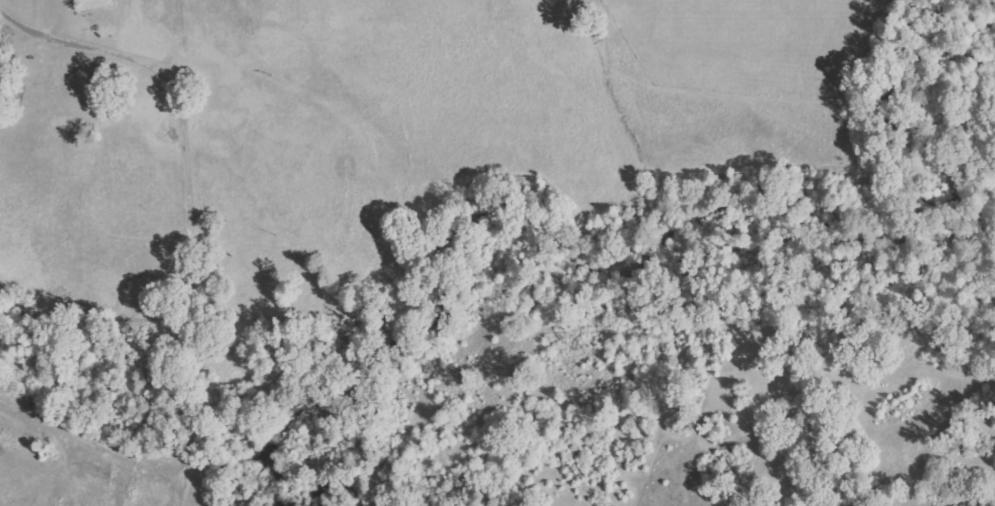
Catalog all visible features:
road: (185, 201)
road: (89, 441)
road: (175, 505)
road: (176, 505)

